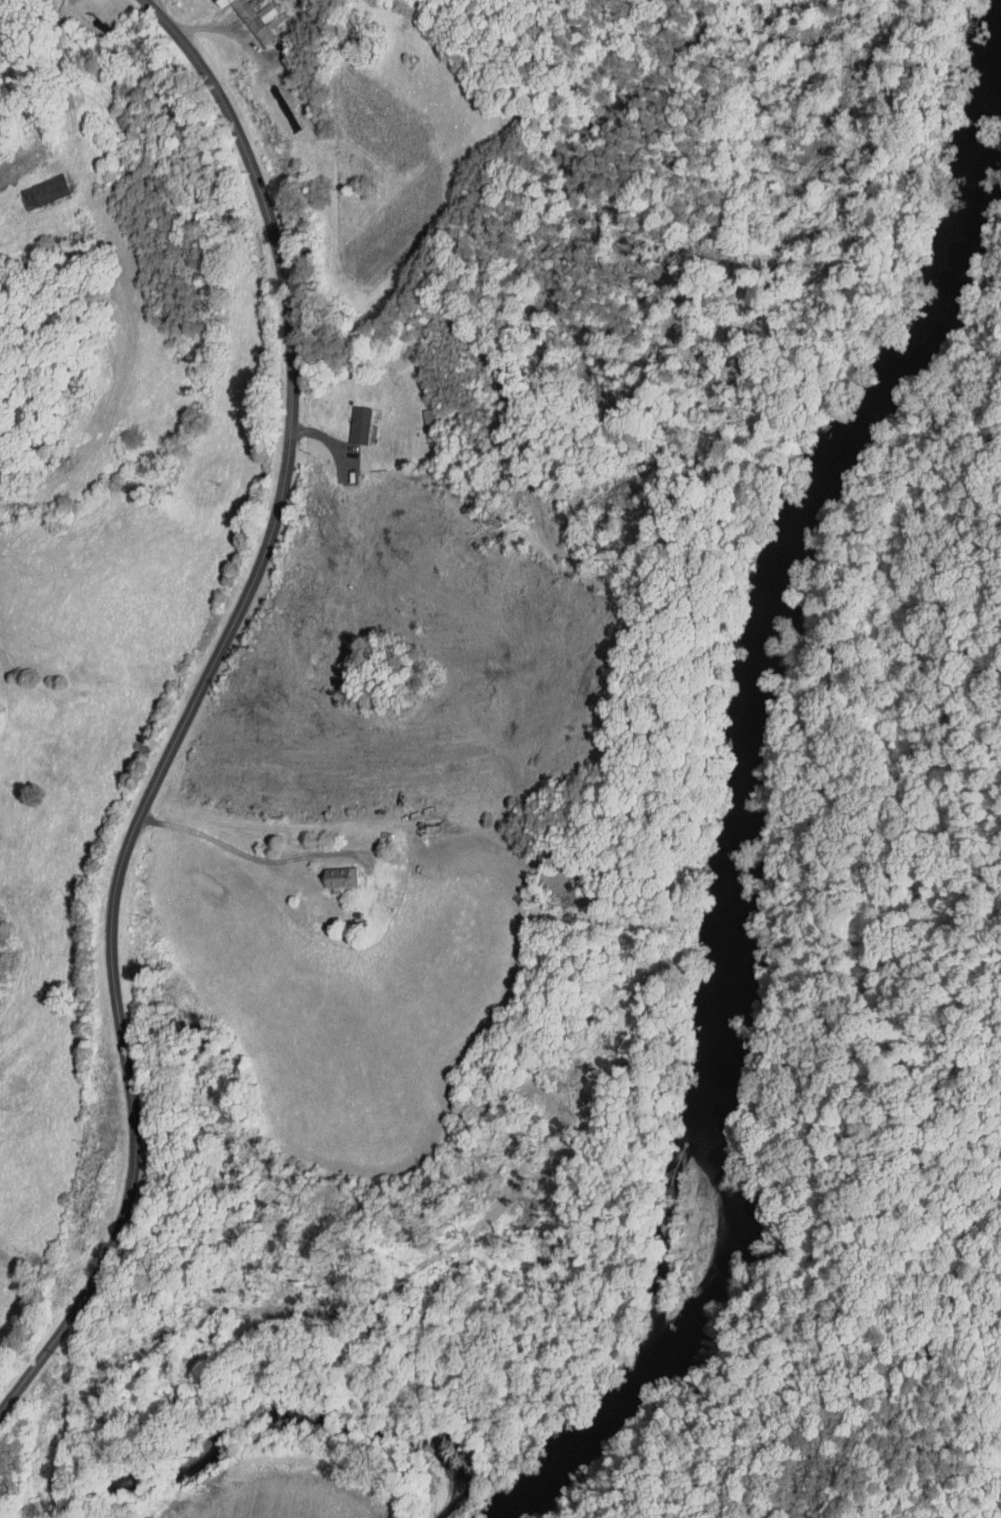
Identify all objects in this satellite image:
building: (212, 0)
road: (146, 1)
building: (253, 14)
building: (36, 184)
building: (349, 419)
road: (189, 703)
river: (746, 796)
road: (238, 852)
building: (331, 871)

